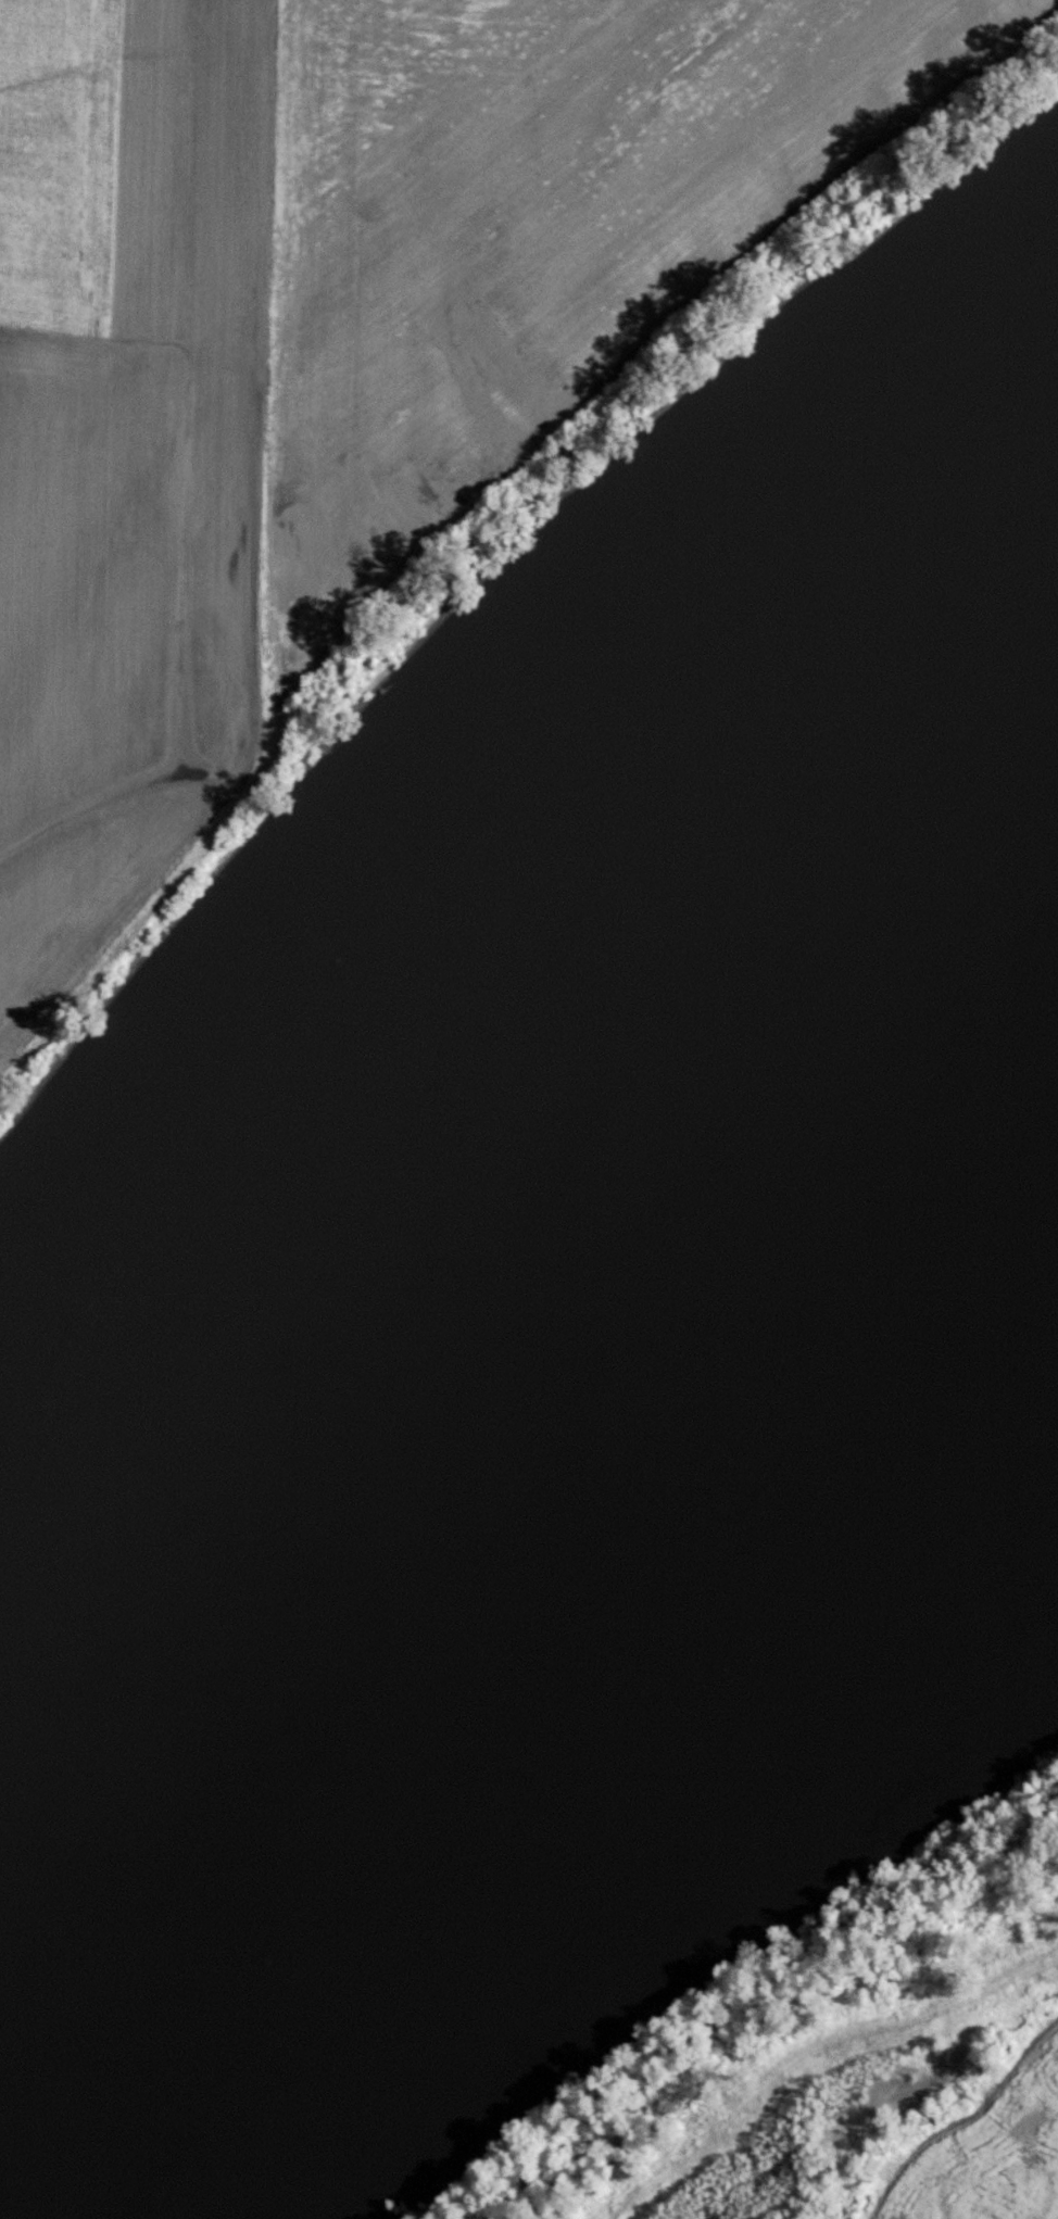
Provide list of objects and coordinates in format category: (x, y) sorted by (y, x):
river: (529, 1450)

